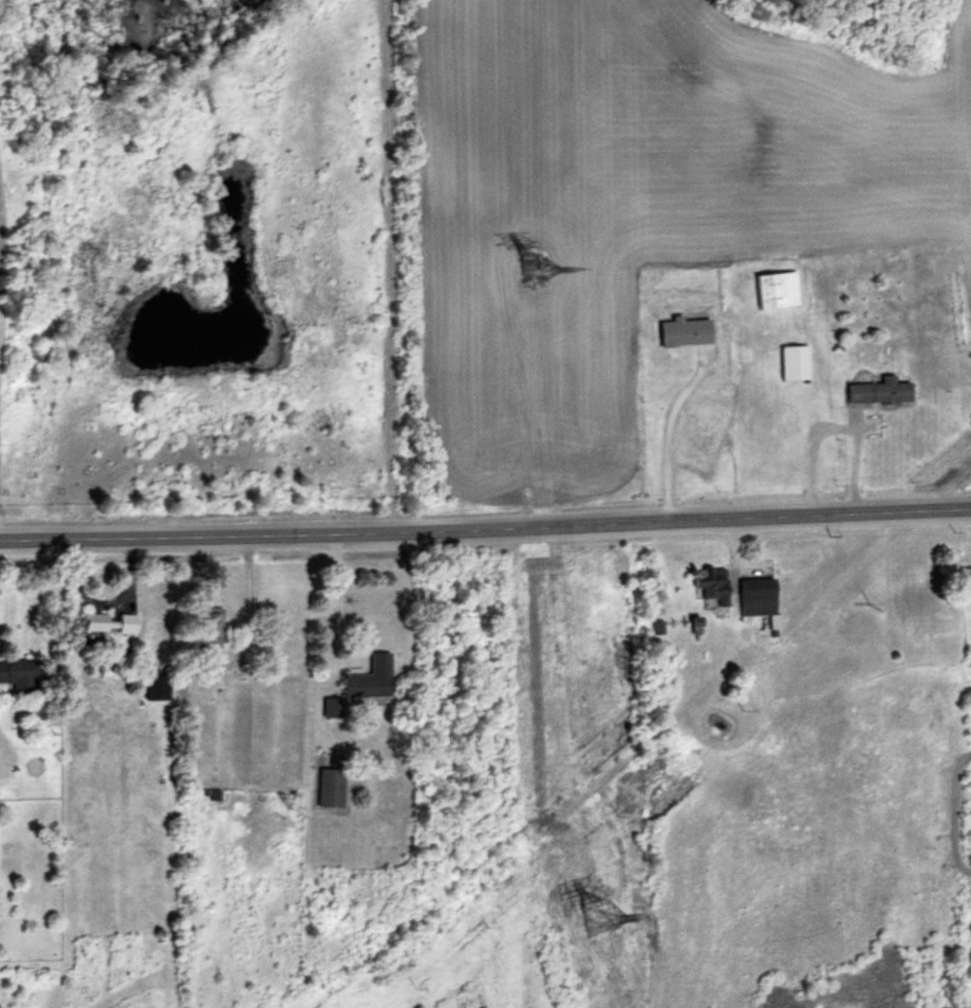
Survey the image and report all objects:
road: (384, 263)
power tower: (537, 265)
building: (779, 288)
building: (687, 329)
building: (797, 360)
building: (882, 389)
road: (661, 430)
road: (485, 525)
building: (716, 589)
building: (760, 594)
road: (327, 603)
building: (111, 621)
building: (214, 626)
building: (20, 673)
building: (364, 683)
building: (159, 686)
building: (333, 785)
power tower: (601, 917)

